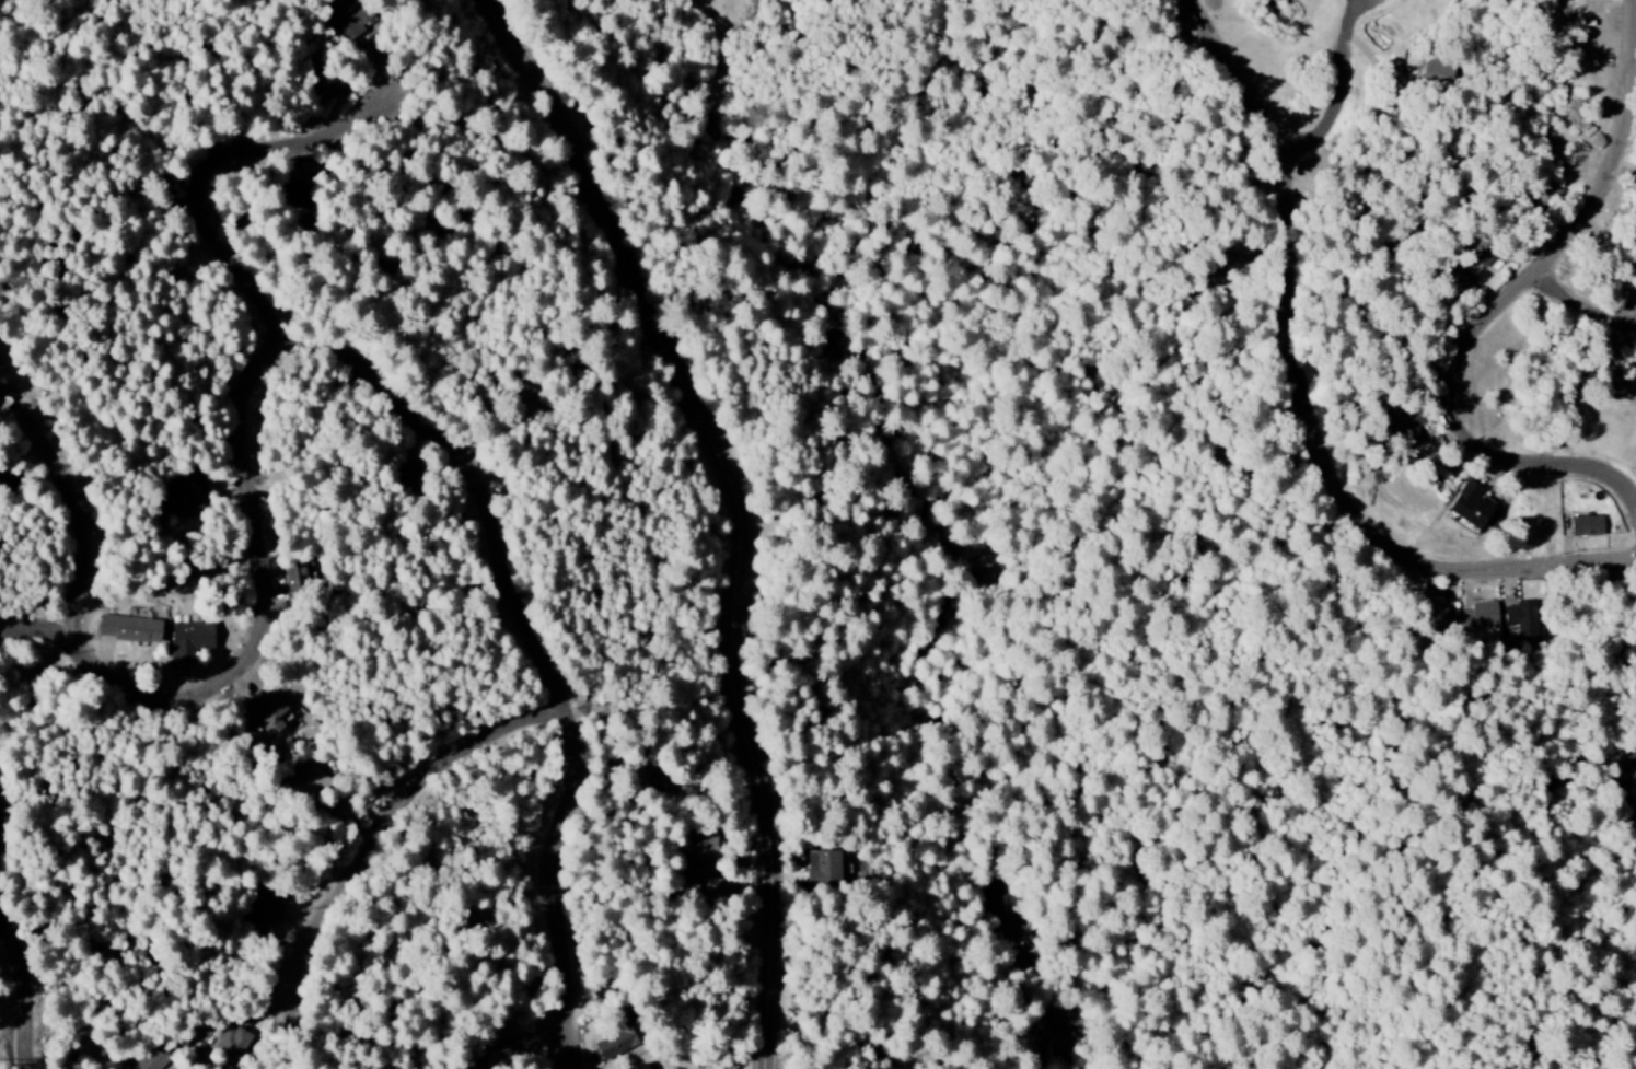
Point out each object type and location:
building: (349, 18)
building: (1435, 72)
building: (323, 80)
road: (1343, 90)
road: (217, 187)
building: (294, 197)
building: (1545, 197)
building: (1481, 254)
building: (1454, 278)
road: (1590, 297)
road: (1488, 332)
road: (402, 392)
road: (1312, 395)
building: (1405, 425)
building: (406, 469)
building: (2, 485)
road: (74, 490)
building: (184, 493)
building: (1469, 506)
road: (754, 508)
building: (1586, 526)
building: (1435, 614)
building: (1481, 616)
building: (1522, 620)
building: (128, 629)
building: (188, 641)
building: (264, 711)
building: (650, 779)
building: (310, 782)
road: (1635, 783)
road: (399, 814)
building: (698, 859)
building: (822, 870)
building: (260, 916)
road: (20, 938)
building: (618, 1038)
building: (231, 1044)
road: (535, 1053)
building: (153, 1059)
building: (640, 1067)

